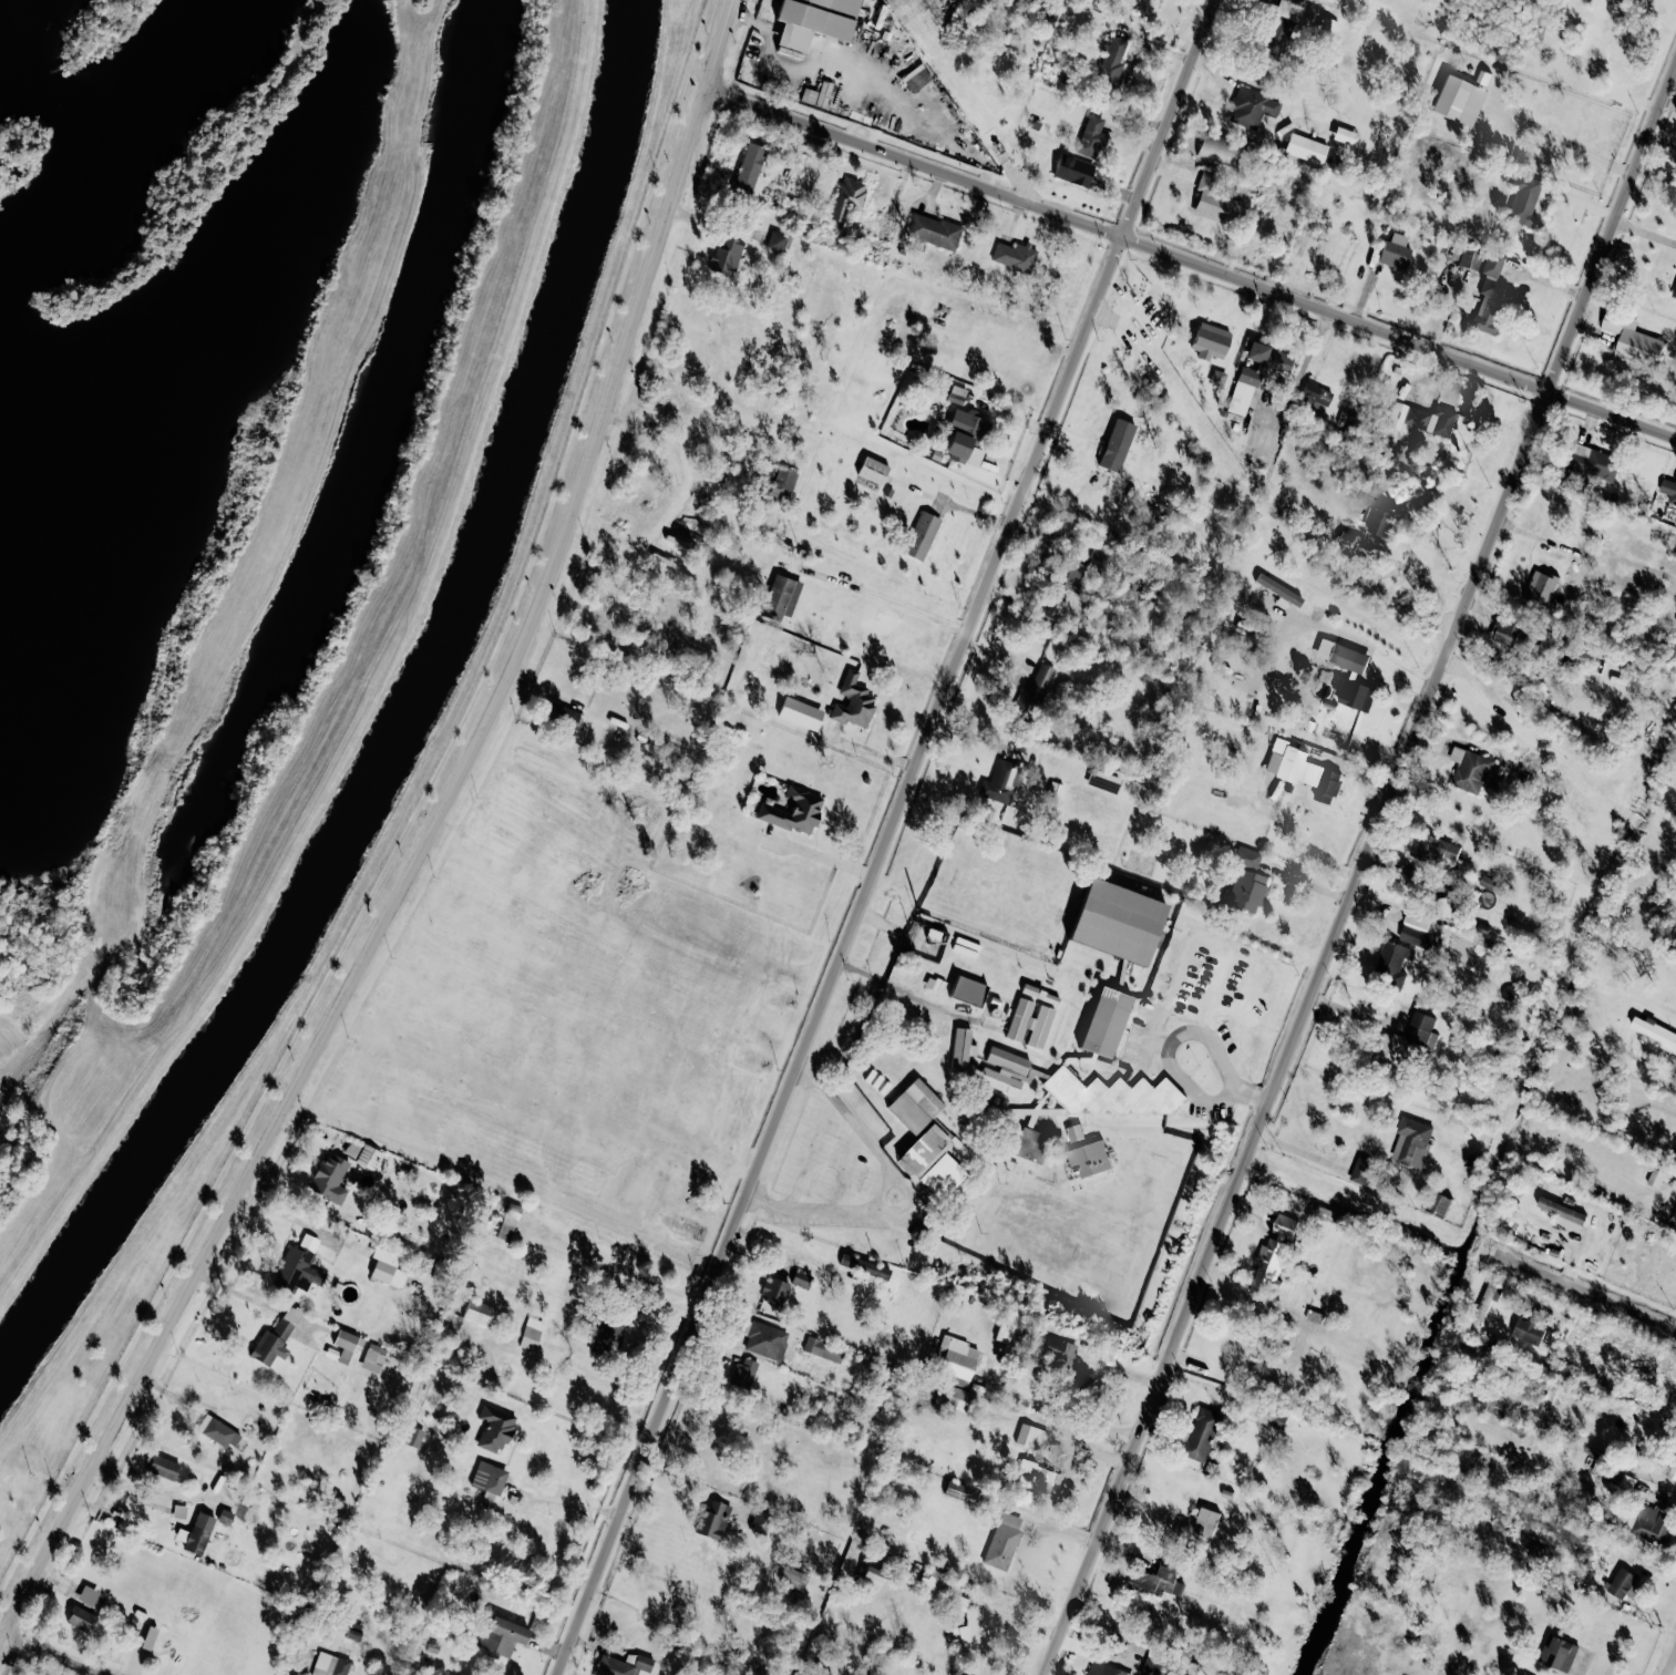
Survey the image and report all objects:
building: (813, 20)
building: (1282, 27)
building: (1327, 27)
building: (1111, 61)
building: (916, 78)
building: (1458, 101)
building: (1253, 107)
building: (1345, 135)
building: (1090, 136)
building: (1305, 147)
building: (1219, 148)
building: (749, 166)
building: (1073, 171)
building: (1213, 197)
building: (1524, 198)
building: (847, 199)
road: (1646, 229)
building: (934, 230)
building: (777, 240)
building: (1395, 251)
building: (727, 256)
building: (1015, 256)
building: (1466, 257)
building: (1346, 258)
road: (1191, 263)
building: (1674, 290)
building: (1490, 295)
building: (1632, 340)
building: (1210, 341)
building: (1257, 373)
building: (1217, 378)
building: (1314, 395)
building: (1422, 418)
building: (966, 433)
building: (1117, 444)
building: (1593, 462)
building: (873, 470)
building: (783, 481)
building: (1668, 489)
building: (1379, 522)
building: (922, 535)
building: (1346, 540)
road: (1417, 571)
building: (1059, 588)
building: (1540, 588)
building: (781, 596)
road: (902, 605)
building: (1505, 630)
building: (1340, 655)
road: (1397, 680)
building: (1353, 692)
building: (1030, 696)
building: (853, 702)
building: (564, 713)
building: (1469, 769)
building: (1302, 770)
building: (1001, 781)
building: (795, 810)
road: (884, 836)
road: (425, 847)
building: (1435, 849)
building: (1245, 857)
road: (1359, 871)
building: (1247, 890)
building: (1441, 906)
building: (1117, 922)
building: (1403, 949)
building: (967, 990)
building: (1040, 994)
road: (1236, 1003)
building: (1104, 1021)
building: (1029, 1024)
building: (1420, 1026)
building: (1653, 1030)
building: (962, 1049)
road: (1197, 1051)
building: (1389, 1051)
building: (1004, 1070)
building: (1111, 1095)
building: (915, 1106)
building: (1075, 1132)
building: (1411, 1141)
building: (1030, 1143)
building: (928, 1148)
building: (368, 1157)
building: (1089, 1158)
road: (881, 1169)
building: (1360, 1170)
building: (329, 1176)
building: (1654, 1178)
road: (1289, 1189)
building: (1438, 1204)
building: (1563, 1214)
building: (1272, 1253)
building: (297, 1264)
building: (383, 1265)
building: (863, 1265)
building: (800, 1277)
road: (1585, 1291)
building: (775, 1292)
building: (1485, 1301)
building: (477, 1312)
building: (1528, 1329)
building: (531, 1334)
building: (608, 1335)
building: (275, 1338)
building: (785, 1343)
building: (345, 1346)
building: (1055, 1348)
building: (373, 1357)
building: (956, 1357)
building: (744, 1374)
building: (1079, 1380)
building: (954, 1397)
building: (494, 1428)
building: (218, 1431)
building: (1200, 1433)
building: (1028, 1436)
building: (414, 1437)
building: (164, 1467)
building: (1673, 1469)
building: (1607, 1471)
building: (1041, 1478)
building: (489, 1480)
building: (955, 1490)
road: (570, 1501)
building: (179, 1511)
building: (713, 1520)
building: (1206, 1522)
building: (1654, 1523)
building: (196, 1540)
building: (1002, 1540)
building: (792, 1578)
building: (872, 1578)
building: (932, 1579)
building: (1153, 1580)
building: (1625, 1584)
building: (88, 1595)
building: (81, 1617)
building: (352, 1633)
building: (960, 1634)
building: (501, 1636)
building: (148, 1637)
building: (1557, 1652)
road: (58, 1655)
road: (1669, 1661)
building: (330, 1665)
building: (621, 1665)
building: (1153, 1666)
building: (1102, 1669)

